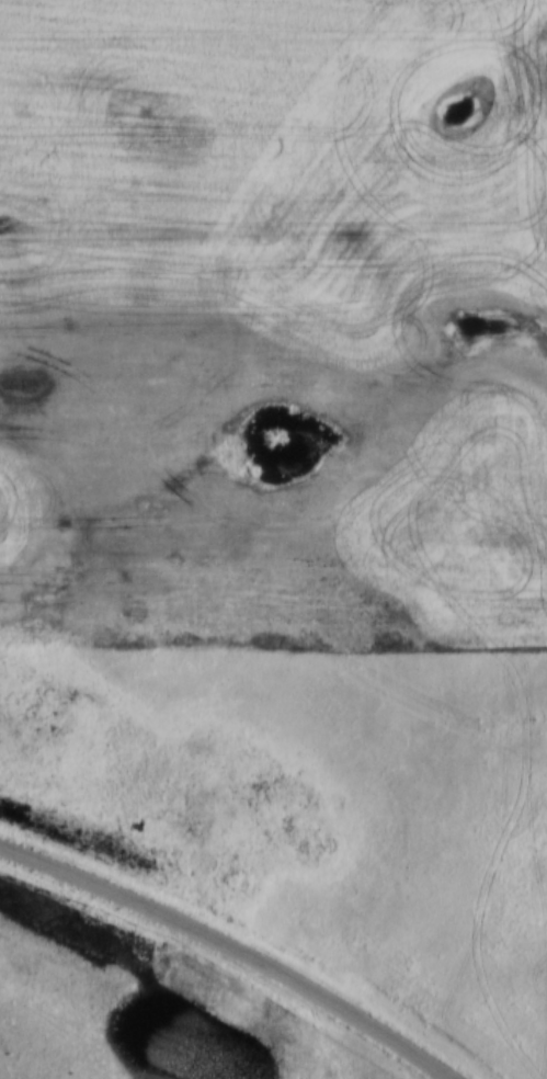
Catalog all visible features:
road: (230, 949)

